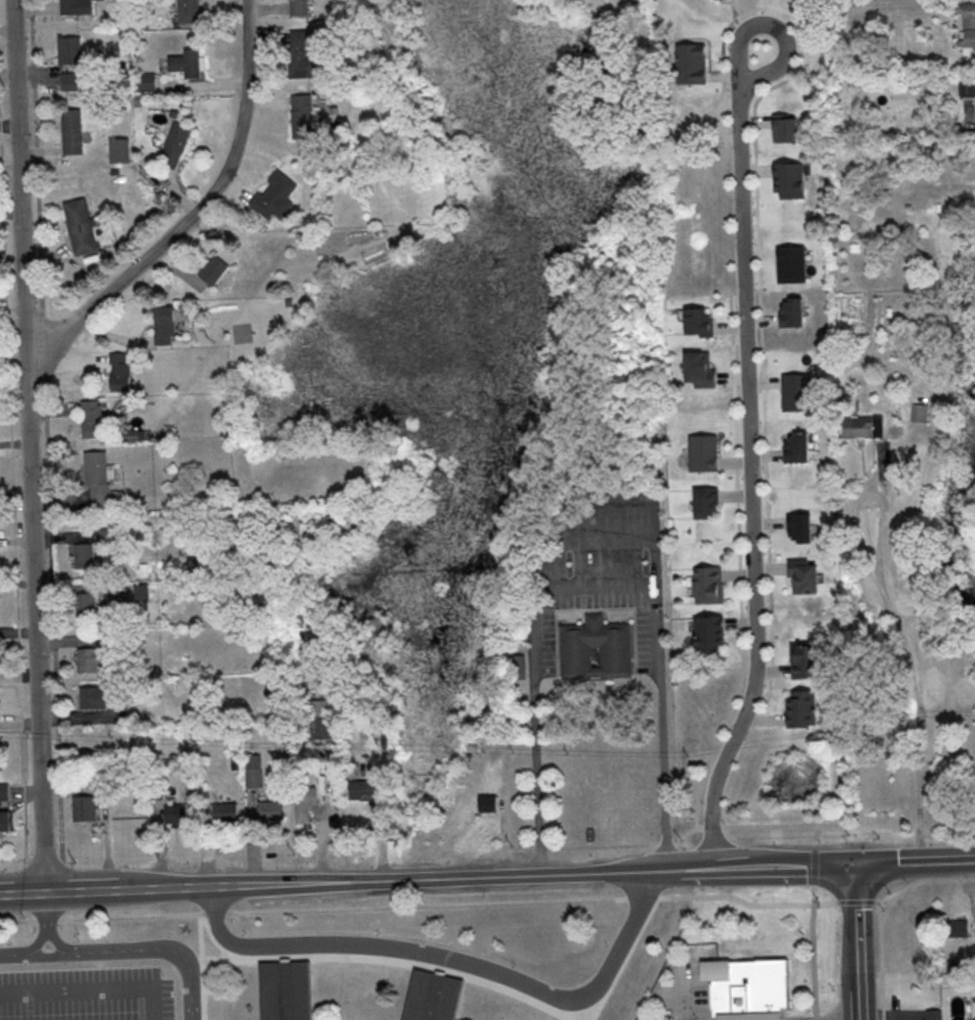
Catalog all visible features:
building: (75, 6)
building: (188, 11)
building: (968, 22)
road: (781, 25)
building: (69, 49)
building: (306, 54)
building: (189, 64)
building: (693, 64)
building: (69, 80)
building: (967, 87)
building: (307, 113)
building: (71, 131)
building: (176, 143)
building: (120, 149)
building: (792, 180)
building: (279, 195)
road: (198, 210)
building: (80, 226)
building: (214, 269)
building: (919, 412)
building: (866, 425)
road: (35, 446)
building: (799, 446)
building: (705, 452)
building: (102, 477)
road: (757, 482)
building: (708, 501)
building: (807, 576)
road: (593, 584)
building: (709, 584)
building: (711, 633)
building: (597, 648)
building: (808, 659)
building: (95, 662)
road: (913, 674)
building: (100, 698)
building: (803, 707)
building: (490, 803)
building: (7, 820)
road: (643, 842)
road: (913, 860)
traffic signals: (853, 864)
road: (426, 880)
road: (810, 904)
road: (321, 909)
road: (53, 921)
road: (811, 921)
building: (957, 928)
road: (879, 930)
road: (855, 942)
road: (154, 947)
road: (26, 951)
road: (456, 957)
parking lot: (102, 981)
building: (752, 990)
building: (286, 991)
road: (73, 992)
road: (683, 995)
building: (432, 997)
road: (146, 1005)
building: (935, 1014)

